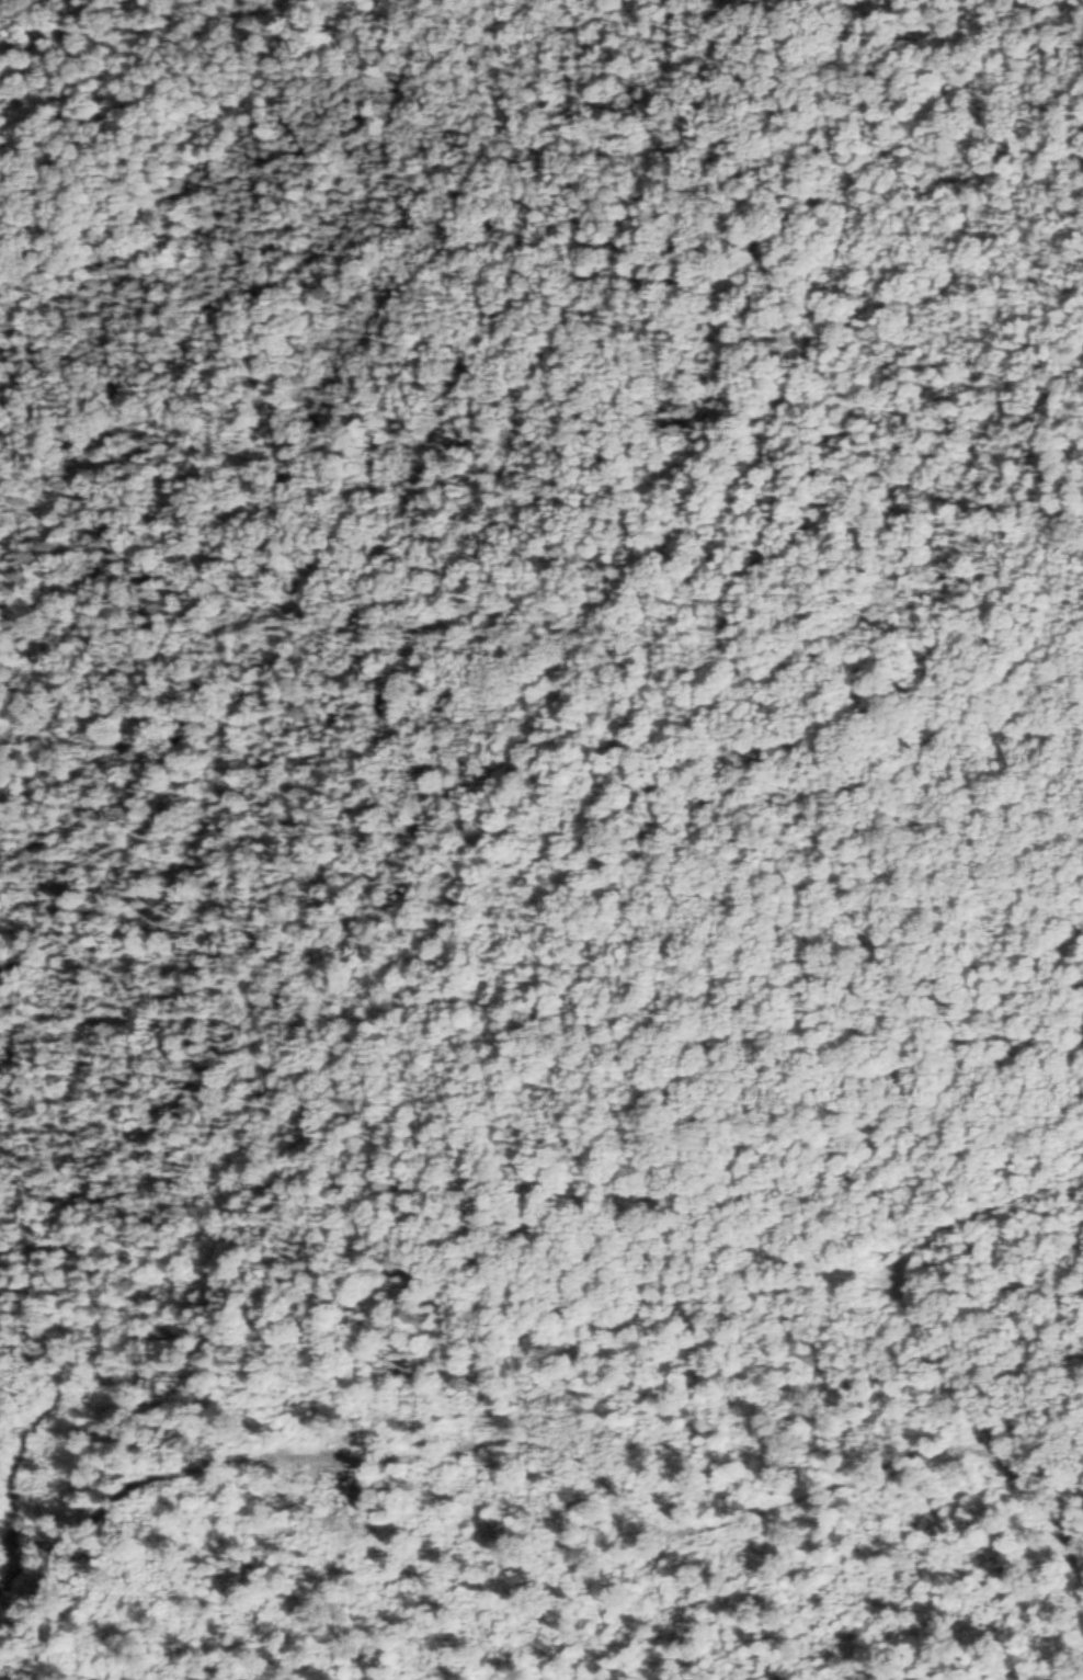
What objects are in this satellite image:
park: (5, 829)
road: (914, 1352)
road: (486, 1444)

